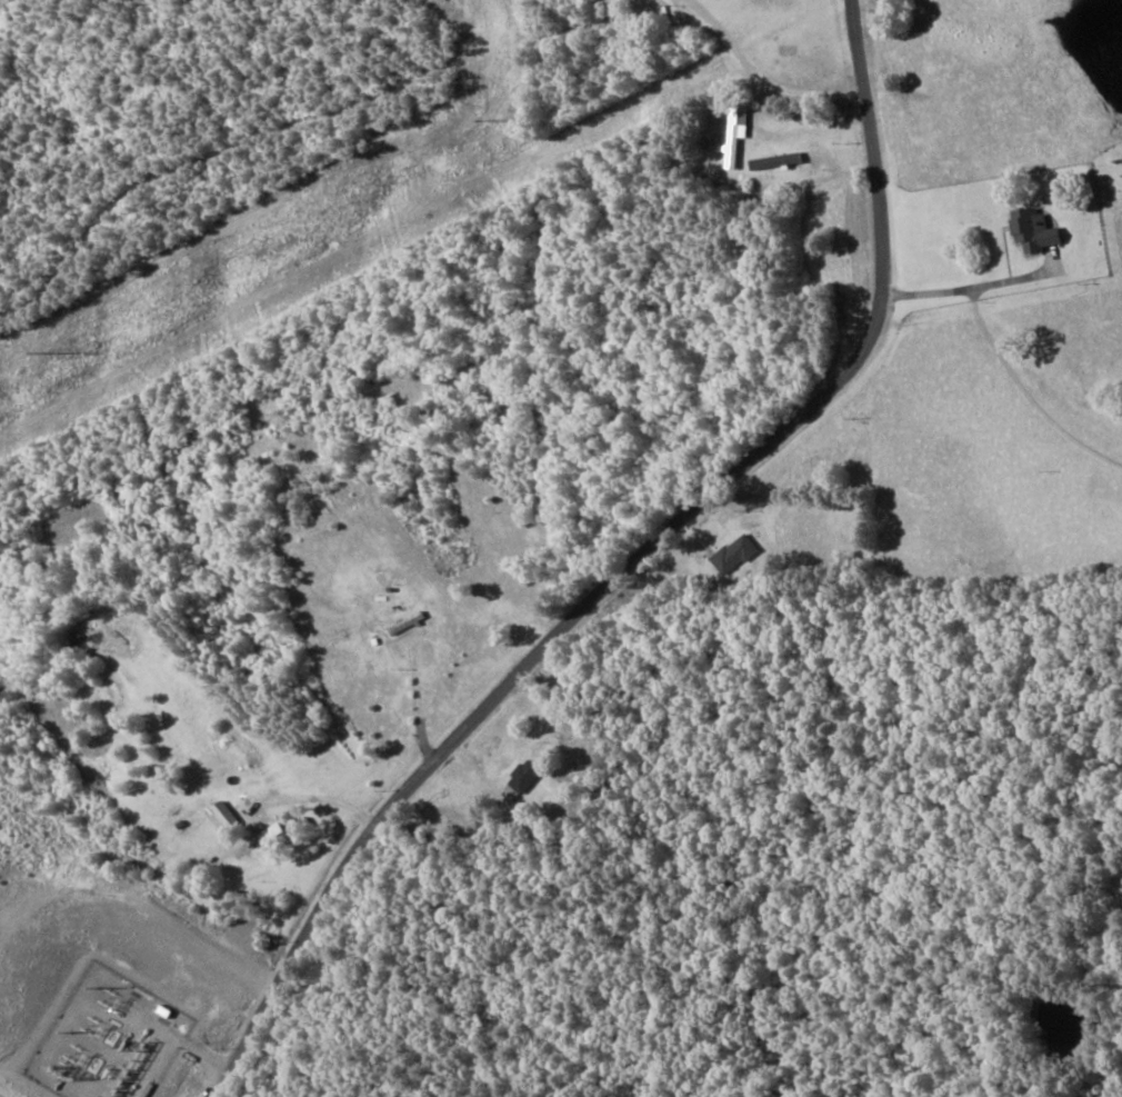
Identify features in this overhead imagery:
building: (733, 133)
building: (1031, 229)
building: (732, 554)
road: (692, 594)
building: (522, 776)
building: (281, 835)

